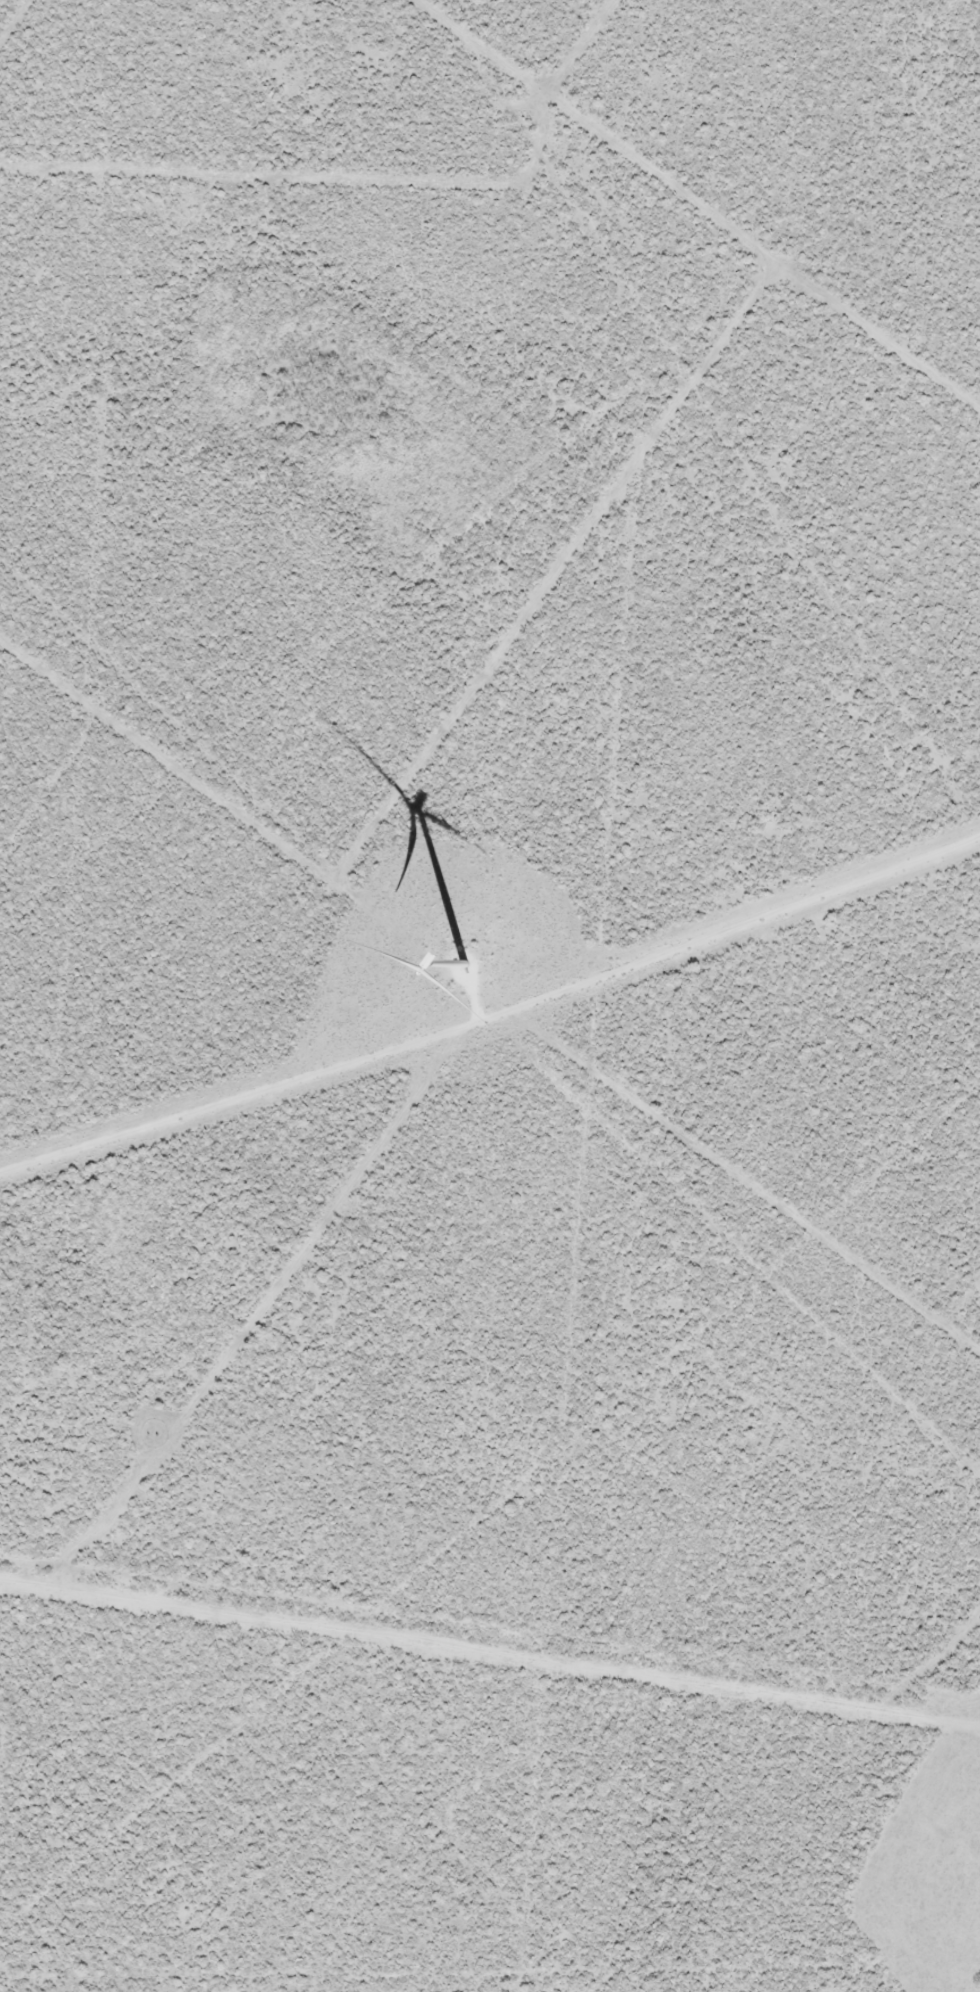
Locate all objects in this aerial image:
wind turbine: (461, 971)

